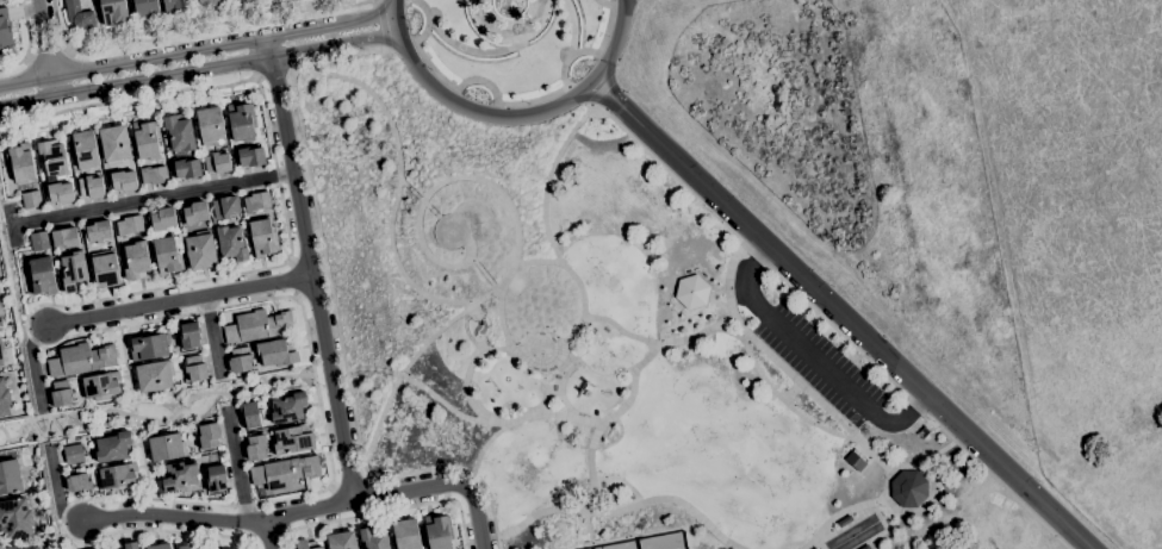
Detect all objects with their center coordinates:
building: (1, 0)
building: (237, 1)
building: (210, 2)
building: (174, 6)
building: (145, 8)
building: (113, 12)
building: (79, 15)
road: (381, 24)
road: (545, 25)
road: (574, 27)
building: (5, 30)
road: (195, 30)
road: (487, 32)
park: (499, 37)
road: (27, 44)
road: (45, 49)
road: (471, 50)
road: (46, 52)
road: (197, 52)
road: (198, 71)
road: (274, 71)
road: (375, 95)
road: (511, 101)
road: (508, 116)
building: (241, 123)
building: (210, 125)
building: (179, 133)
building: (145, 141)
building: (114, 144)
building: (83, 150)
building: (250, 157)
building: (52, 158)
building: (20, 163)
building: (217, 163)
building: (187, 169)
building: (154, 175)
road: (551, 180)
building: (123, 181)
building: (91, 187)
building: (61, 193)
road: (149, 198)
building: (31, 200)
building: (256, 202)
building: (225, 207)
building: (195, 213)
building: (163, 219)
road: (7, 225)
building: (129, 226)
building: (98, 232)
building: (64, 238)
building: (262, 238)
building: (39, 242)
building: (231, 244)
building: (200, 250)
road: (397, 252)
building: (167, 256)
building: (136, 261)
road: (460, 263)
building: (105, 269)
building: (74, 272)
road: (309, 272)
building: (42, 276)
road: (136, 292)
building: (690, 292)
road: (486, 295)
road: (176, 302)
road: (838, 316)
building: (0, 317)
road: (336, 319)
road: (832, 324)
building: (257, 326)
road: (700, 335)
road: (732, 335)
building: (189, 336)
road: (212, 336)
building: (148, 347)
park: (604, 347)
road: (559, 349)
building: (276, 353)
building: (5, 360)
building: (81, 360)
building: (240, 360)
road: (816, 360)
road: (779, 361)
building: (0, 366)
parking lot: (820, 366)
building: (195, 368)
building: (155, 375)
road: (470, 378)
road: (773, 385)
building: (101, 386)
building: (61, 394)
building: (4, 399)
road: (133, 406)
building: (290, 408)
road: (831, 410)
road: (547, 413)
building: (250, 416)
road: (135, 418)
building: (209, 435)
building: (293, 439)
building: (113, 447)
building: (167, 447)
building: (256, 448)
road: (939, 453)
building: (74, 454)
building: (855, 462)
road: (237, 467)
building: (285, 473)
building: (180, 475)
building: (118, 476)
building: (10, 478)
building: (217, 479)
road: (933, 479)
road: (352, 481)
building: (79, 482)
road: (594, 482)
building: (911, 491)
road: (363, 500)
road: (87, 503)
road: (387, 512)
road: (617, 512)
road: (840, 514)
road: (477, 516)
road: (172, 517)
building: (15, 518)
building: (439, 532)
road: (650, 534)
road: (267, 535)
building: (406, 535)
building: (858, 535)
building: (374, 539)
building: (342, 541)
building: (306, 544)
park: (659, 544)
building: (128, 545)
building: (10, 547)
building: (160, 547)
building: (185, 547)
building: (30, 548)
building: (35, 548)
building: (195, 548)

